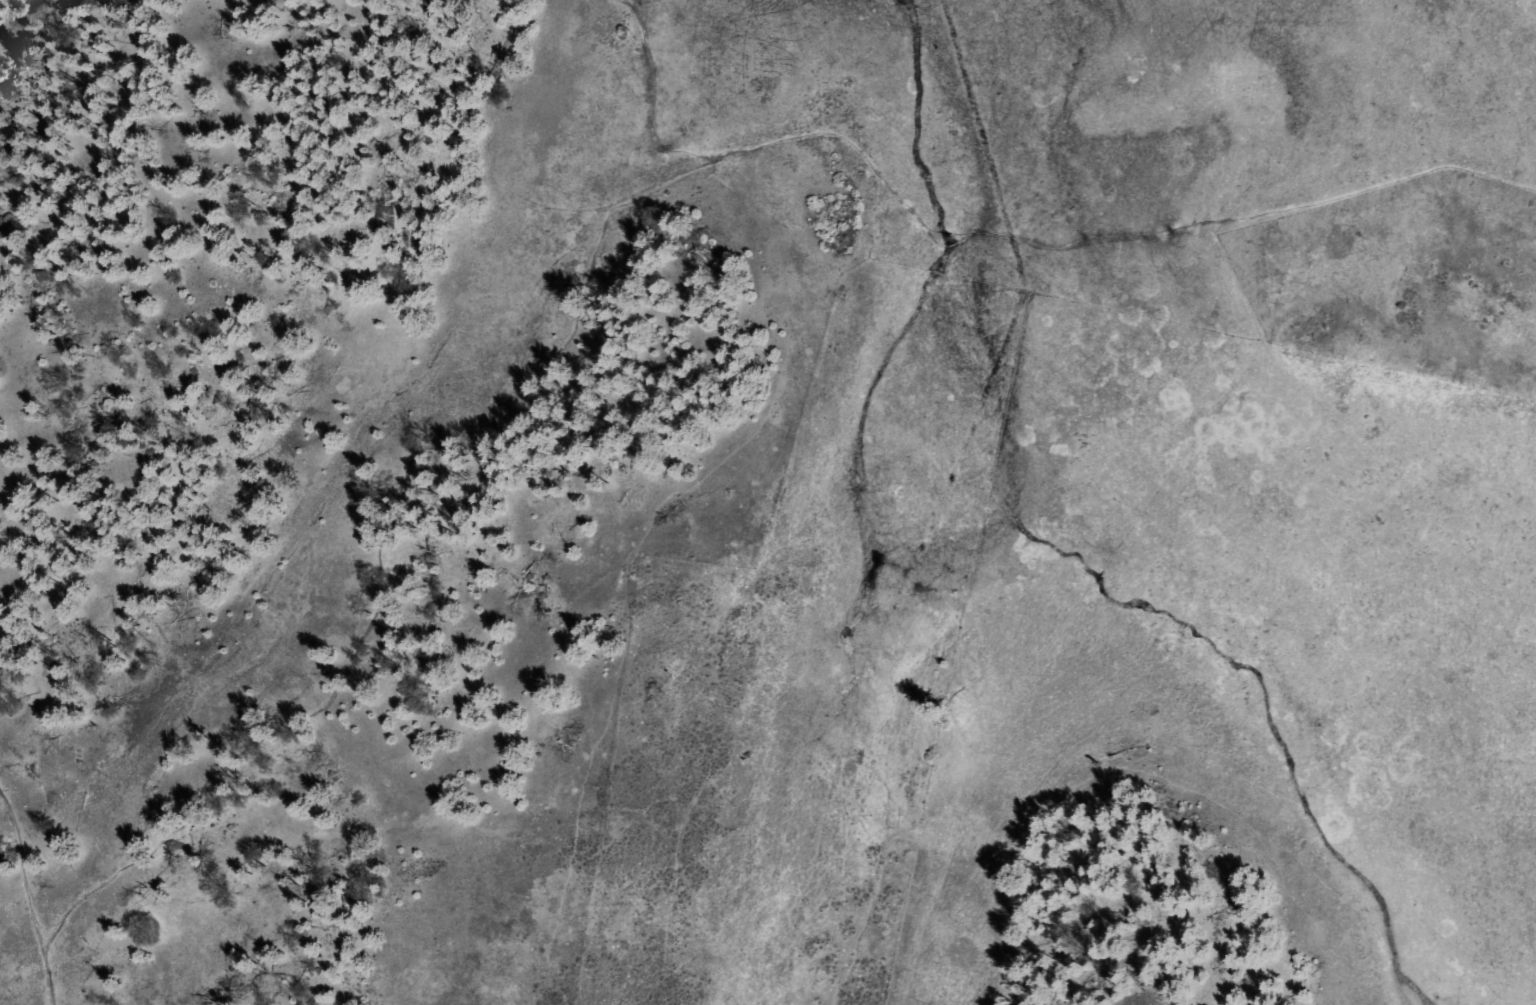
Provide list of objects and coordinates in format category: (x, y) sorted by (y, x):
road: (659, 82)
road: (1095, 219)
road: (376, 547)
road: (642, 550)
road: (18, 880)
road: (41, 980)

